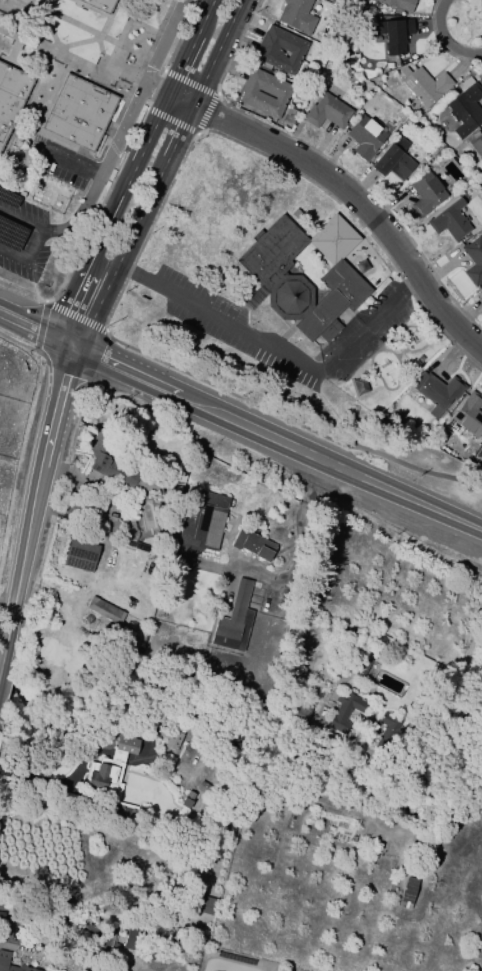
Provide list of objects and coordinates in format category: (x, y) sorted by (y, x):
building: (330, 0)
building: (103, 4)
building: (400, 4)
building: (297, 16)
road: (167, 32)
building: (395, 34)
road: (445, 38)
road: (190, 47)
building: (280, 50)
road: (215, 52)
road: (74, 62)
road: (158, 67)
building: (424, 85)
road: (156, 88)
building: (264, 93)
building: (11, 97)
road: (179, 100)
road: (140, 105)
building: (465, 108)
road: (206, 111)
building: (326, 112)
building: (80, 113)
building: (365, 137)
building: (477, 151)
road: (107, 158)
building: (393, 160)
parking lot: (59, 161)
road: (72, 165)
road: (129, 179)
road: (151, 189)
building: (425, 193)
road: (357, 199)
building: (450, 221)
road: (39, 234)
parking lot: (22, 236)
building: (473, 260)
building: (298, 279)
building: (481, 293)
road: (85, 301)
road: (396, 301)
parking lot: (386, 307)
road: (210, 313)
road: (36, 324)
building: (437, 390)
building: (467, 416)
road: (275, 439)
building: (122, 470)
building: (183, 470)
road: (35, 501)
building: (148, 516)
building: (200, 526)
road: (291, 542)
building: (253, 544)
building: (80, 555)
building: (105, 610)
road: (5, 612)
building: (234, 620)
road: (458, 676)
building: (344, 708)
building: (387, 730)
river: (243, 736)
building: (169, 737)
building: (112, 775)
building: (202, 787)
building: (187, 799)
building: (408, 892)
building: (206, 904)
building: (1, 915)
building: (130, 937)
building: (4, 958)

